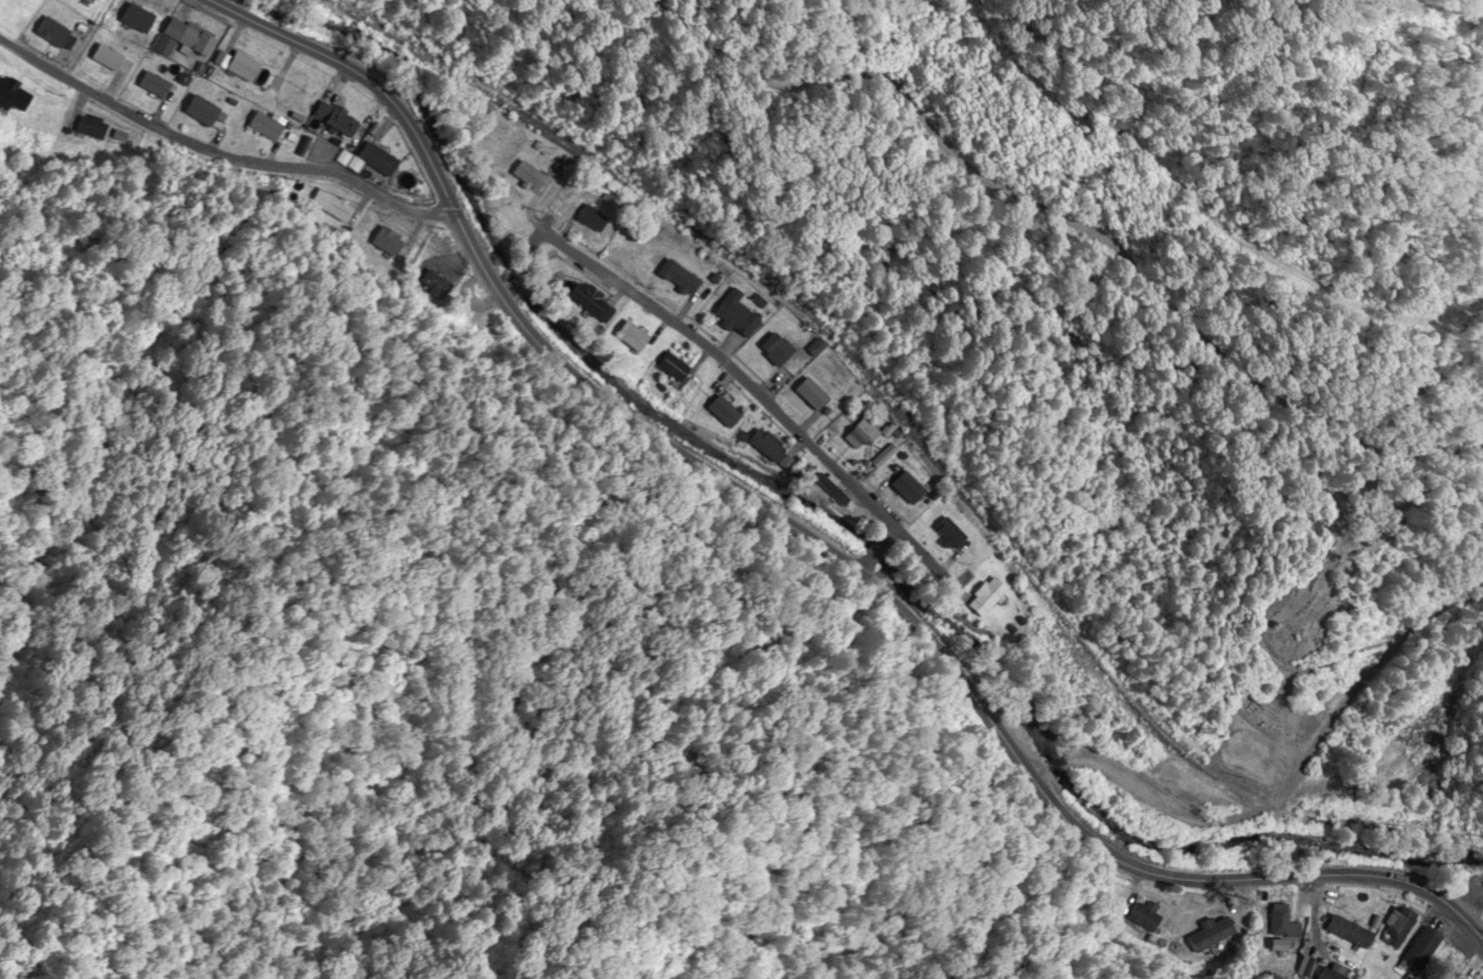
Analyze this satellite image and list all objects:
building: (84, 2)
building: (132, 19)
building: (47, 33)
building: (178, 40)
building: (102, 59)
building: (238, 67)
building: (149, 86)
building: (280, 90)
building: (11, 96)
building: (196, 111)
building: (330, 120)
building: (88, 124)
building: (260, 127)
road: (219, 146)
building: (370, 161)
building: (522, 175)
building: (334, 210)
building: (587, 220)
building: (385, 243)
building: (679, 281)
building: (431, 282)
building: (586, 303)
building: (730, 315)
building: (627, 337)
building: (811, 349)
building: (771, 350)
building: (667, 367)
building: (806, 395)
building: (718, 412)
road: (782, 423)
railway: (910, 434)
building: (849, 439)
building: (761, 446)
building: (904, 488)
building: (827, 490)
building: (946, 534)
road: (812, 544)
road: (870, 548)
building: (981, 598)
road: (1295, 773)
building: (1279, 923)
building: (1395, 928)
building: (1343, 929)
building: (1208, 936)
building: (1418, 949)
building: (1422, 978)

